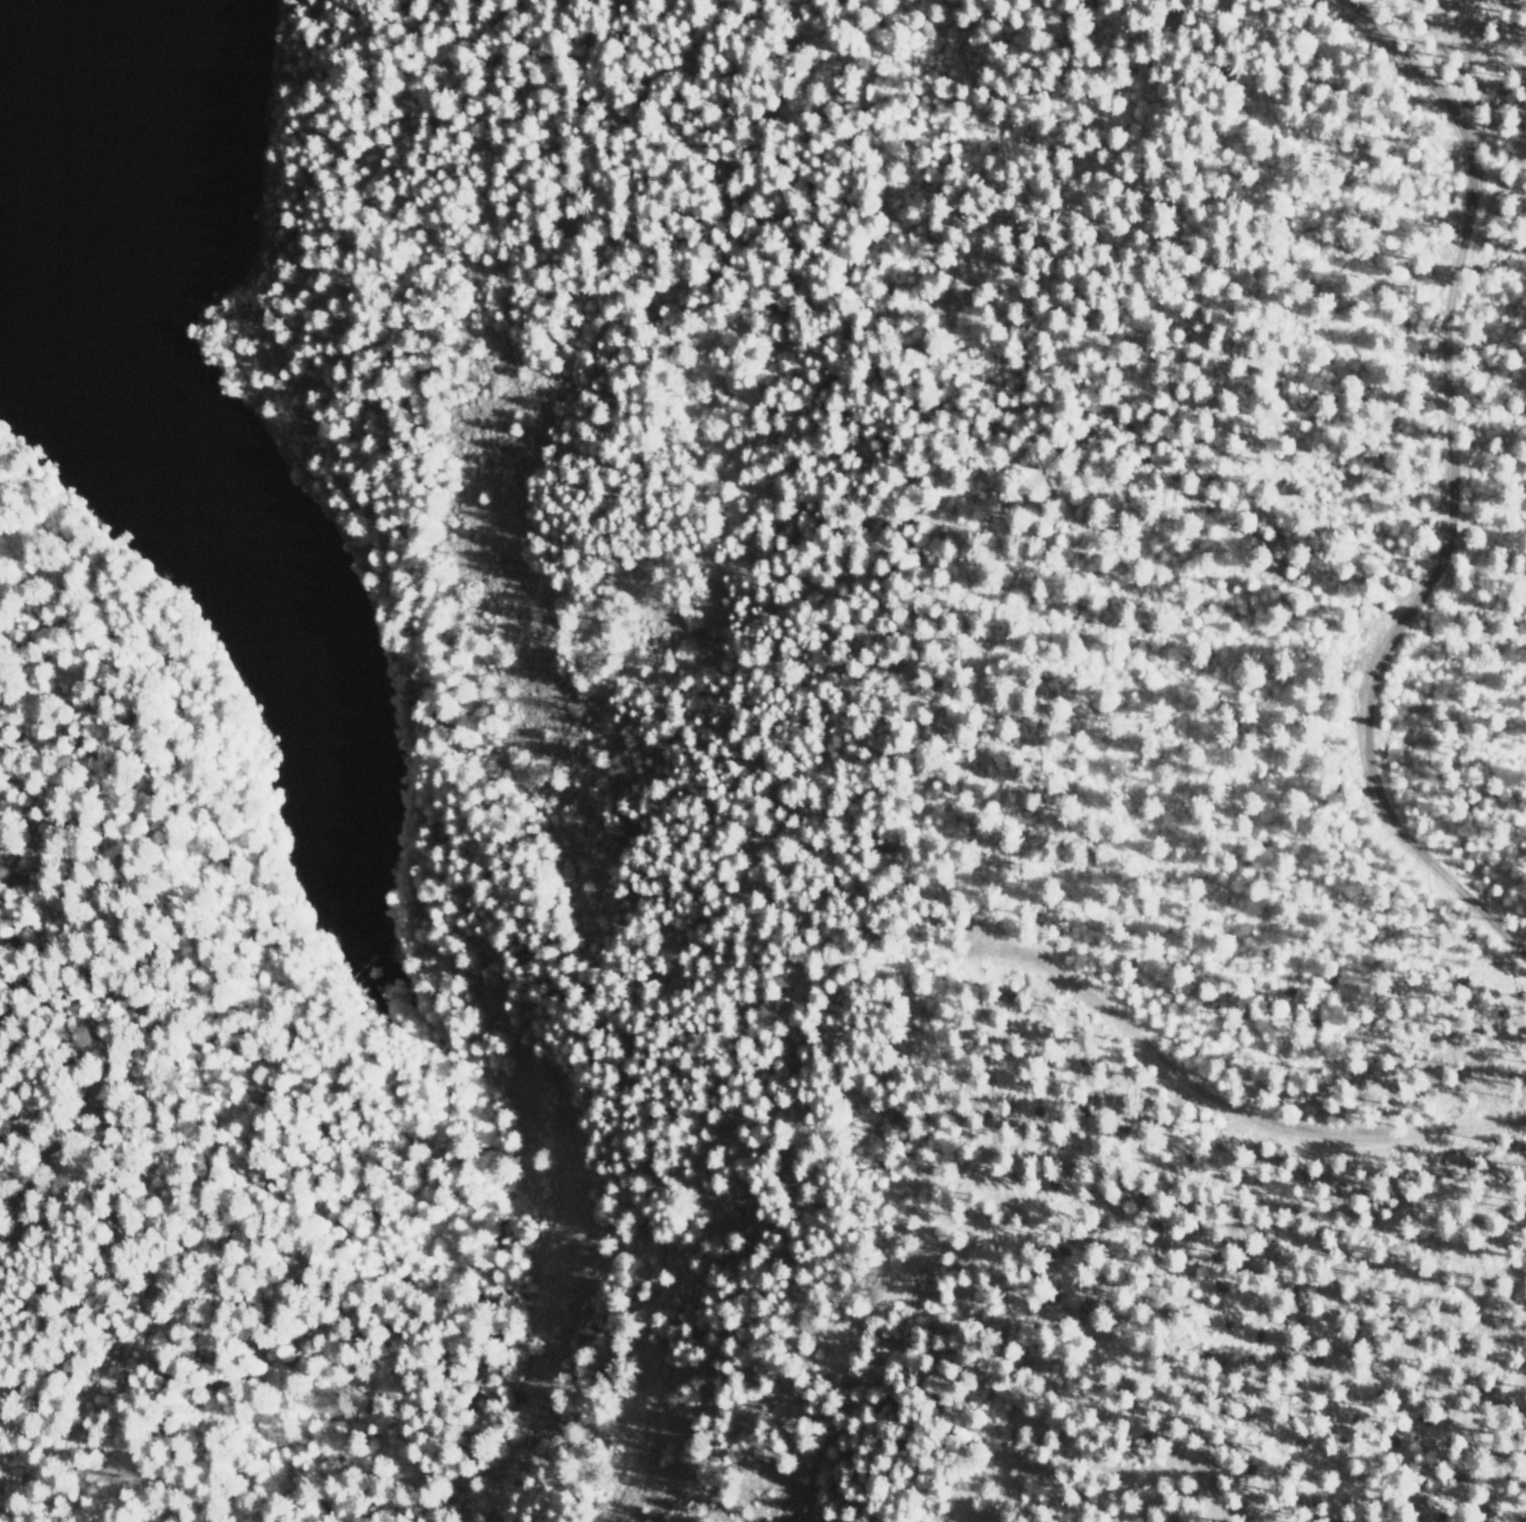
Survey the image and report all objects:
road: (1453, 498)
road: (1228, 1106)

